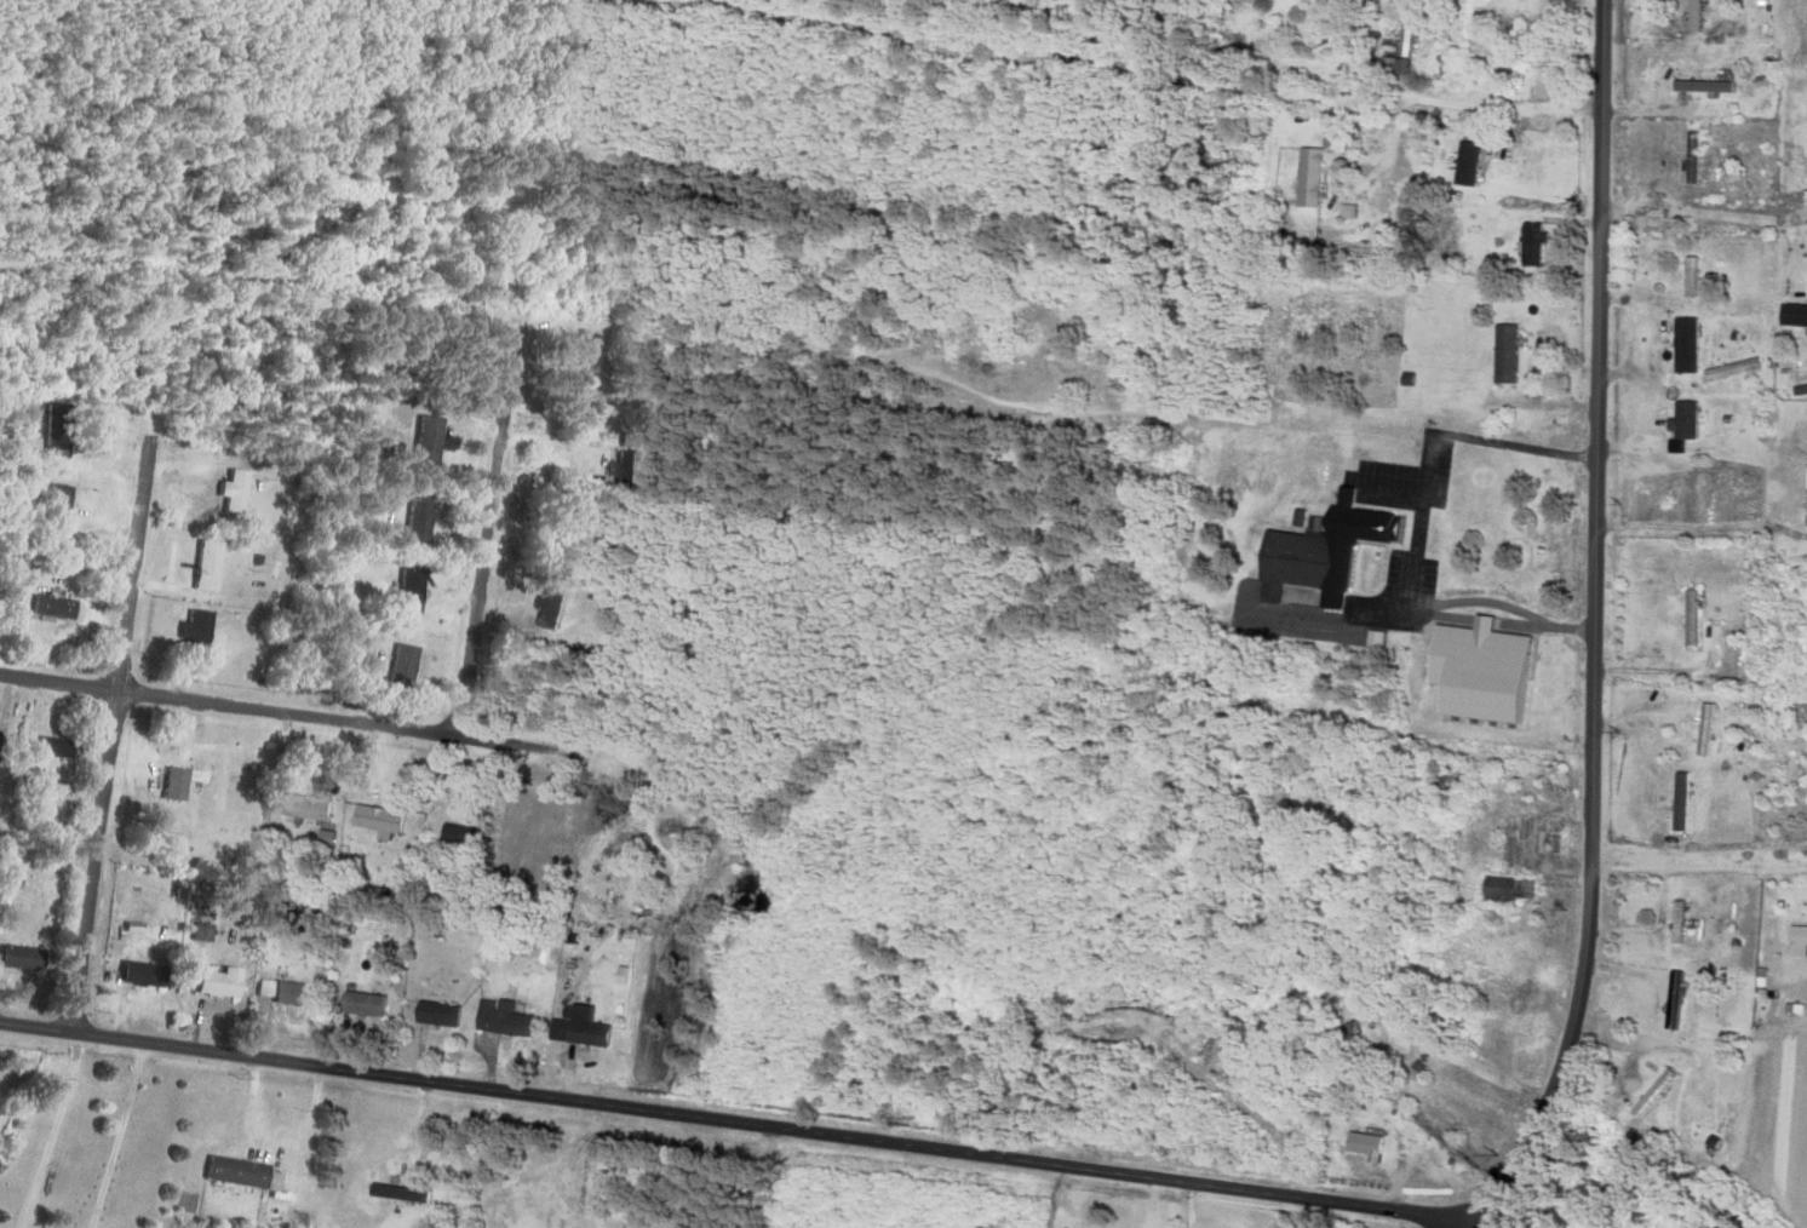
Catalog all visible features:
building: (1541, 12)
building: (1691, 16)
building: (1400, 39)
building: (1699, 86)
road: (1502, 107)
building: (1688, 157)
building: (1522, 167)
building: (1306, 178)
road: (1704, 219)
building: (1528, 245)
building: (1687, 277)
building: (1791, 316)
building: (1687, 348)
building: (1501, 355)
building: (1680, 421)
building: (64, 429)
building: (420, 441)
building: (620, 471)
building: (228, 493)
building: (1803, 498)
building: (1686, 500)
building: (68, 505)
building: (411, 520)
road: (484, 528)
building: (1318, 556)
building: (401, 593)
building: (63, 606)
building: (544, 609)
building: (1687, 619)
road: (1595, 625)
building: (395, 664)
road: (294, 713)
building: (1687, 722)
road: (110, 734)
building: (2, 740)
building: (63, 747)
building: (185, 782)
building: (1677, 802)
building: (297, 808)
building: (369, 821)
building: (453, 837)
road: (1699, 857)
building: (1504, 890)
building: (1674, 924)
building: (1796, 939)
building: (31, 958)
building: (149, 974)
building: (230, 982)
building: (302, 993)
building: (1669, 999)
building: (379, 1004)
building: (1439, 1011)
building: (442, 1012)
building: (497, 1018)
building: (574, 1027)
building: (1651, 1094)
road: (740, 1120)
building: (1361, 1144)
building: (245, 1171)
building: (395, 1193)

